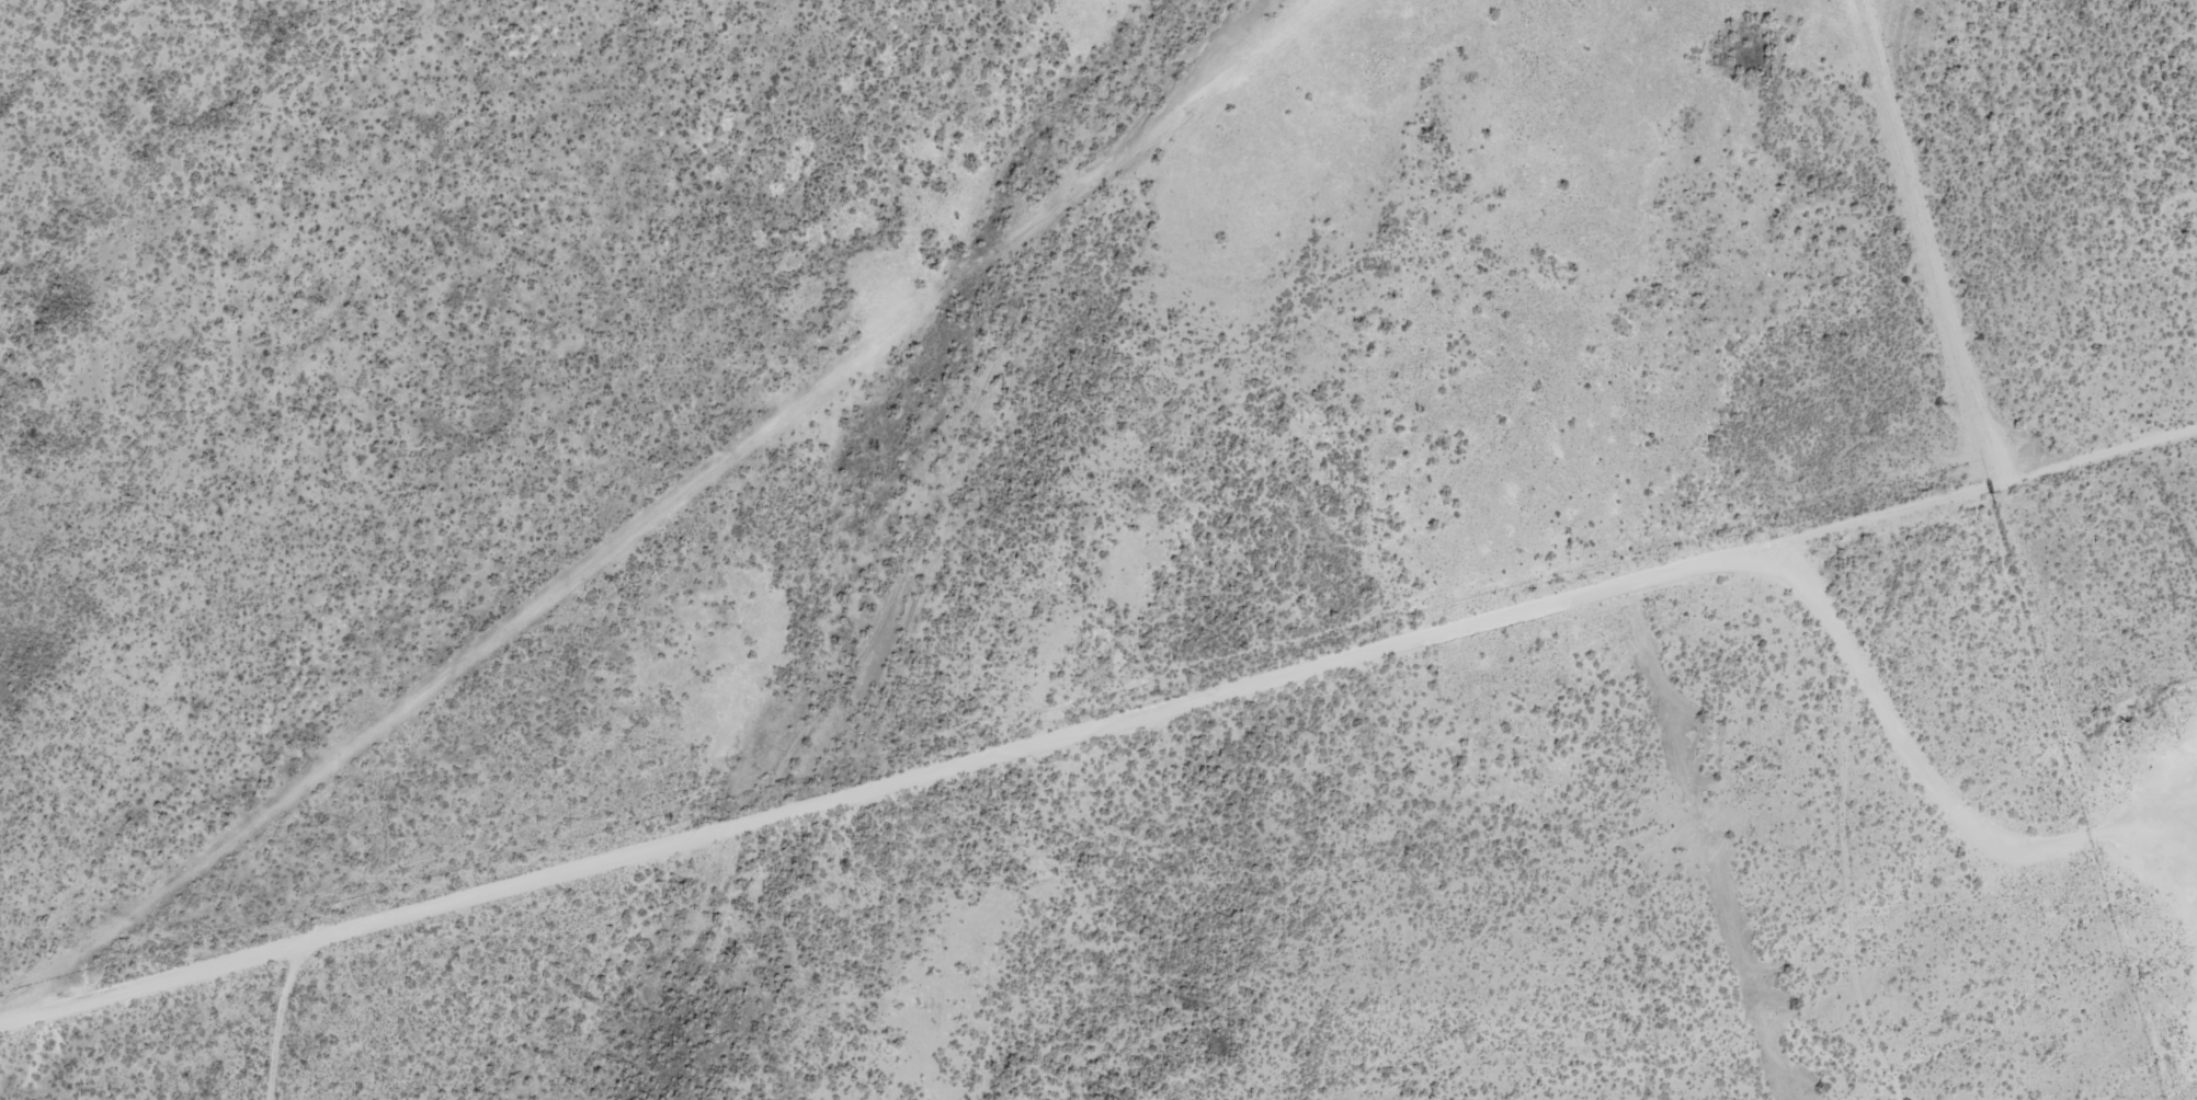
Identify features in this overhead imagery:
road: (581, 451)
road: (983, 467)
road: (1176, 704)
road: (153, 981)

